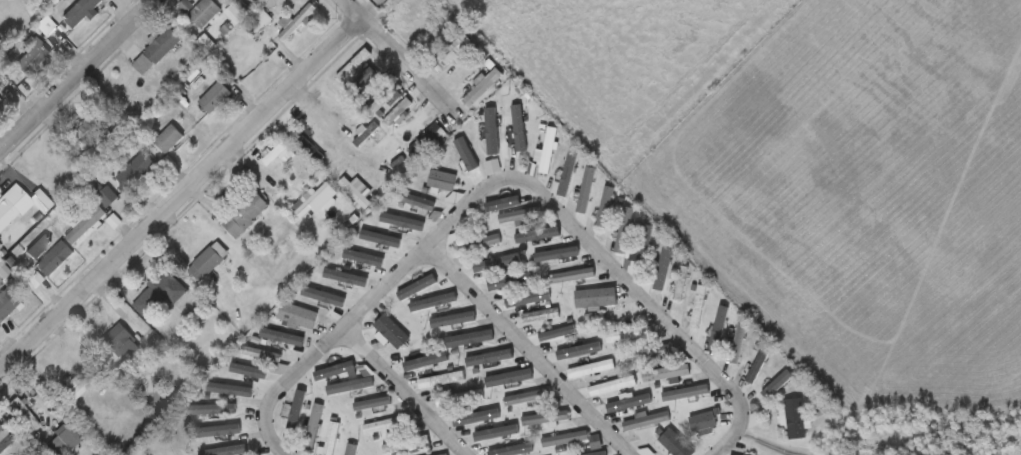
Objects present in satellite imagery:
building: (4, 10)
building: (83, 12)
building: (204, 12)
building: (424, 19)
building: (259, 21)
building: (296, 22)
building: (47, 29)
building: (161, 45)
road: (392, 52)
building: (32, 58)
building: (351, 64)
road: (73, 72)
building: (483, 87)
building: (217, 97)
building: (0, 101)
building: (382, 103)
building: (0, 104)
building: (398, 113)
building: (351, 119)
building: (90, 125)
building: (366, 135)
building: (427, 137)
building: (168, 139)
building: (307, 145)
building: (547, 151)
building: (275, 156)
road: (362, 158)
building: (137, 171)
building: (442, 181)
building: (586, 191)
building: (362, 192)
building: (106, 194)
road: (177, 195)
building: (313, 199)
building: (605, 207)
building: (6, 213)
building: (242, 213)
building: (521, 216)
building: (85, 224)
building: (623, 230)
building: (479, 242)
building: (641, 246)
building: (38, 248)
building: (56, 258)
building: (208, 262)
building: (573, 276)
road: (625, 281)
building: (510, 282)
road: (384, 288)
building: (159, 294)
building: (596, 298)
building: (7, 302)
building: (298, 315)
building: (540, 315)
building: (391, 332)
building: (631, 335)
building: (118, 342)
building: (472, 343)
building: (738, 344)
road: (529, 351)
building: (650, 353)
building: (261, 356)
building: (757, 367)
building: (592, 368)
building: (667, 374)
building: (441, 379)
building: (81, 384)
building: (351, 385)
building: (613, 385)
road: (405, 391)
building: (686, 393)
building: (528, 397)
building: (460, 398)
building: (23, 412)
building: (795, 418)
building: (547, 419)
building: (647, 420)
road: (742, 421)
building: (386, 424)
building: (702, 425)
building: (313, 426)
road: (271, 438)
building: (331, 438)
building: (5, 439)
building: (63, 439)
building: (565, 440)
building: (407, 444)
building: (596, 444)
building: (676, 444)
building: (351, 449)
building: (648, 452)
building: (444, 454)

